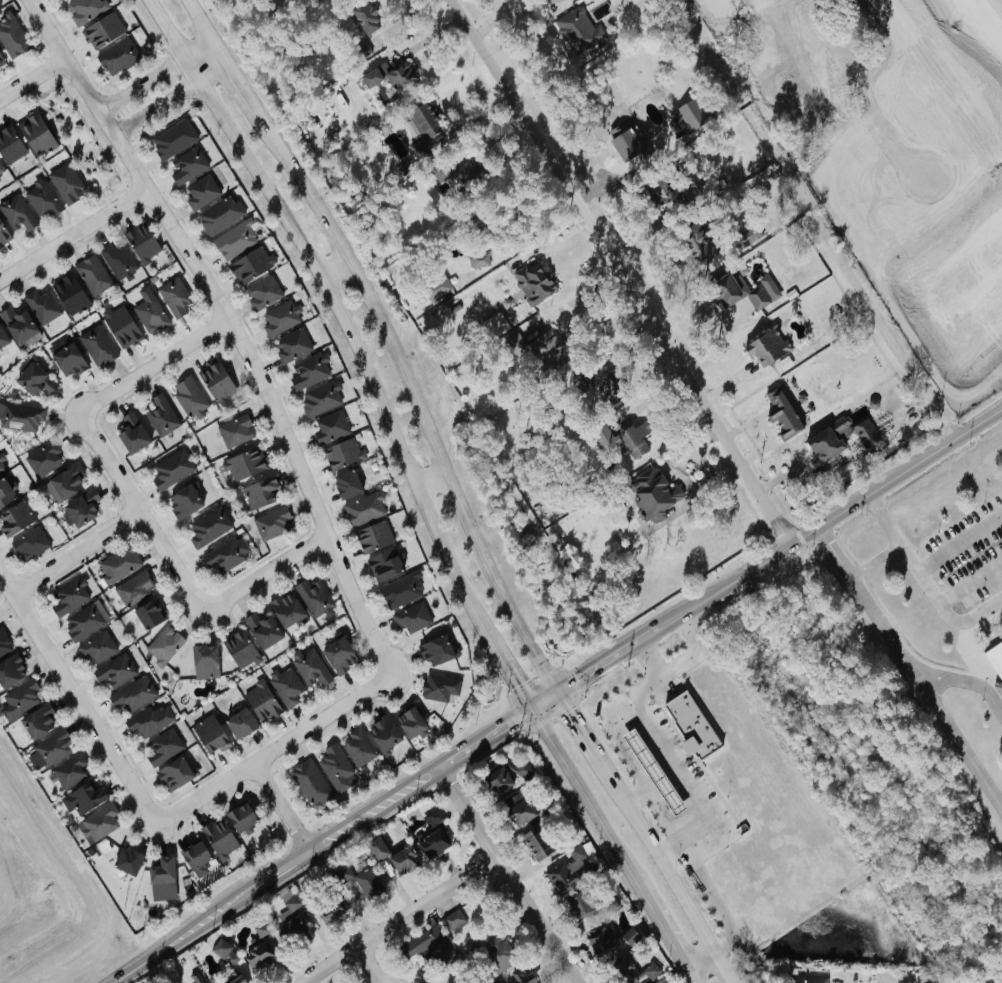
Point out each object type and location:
building: (60, 0)
building: (84, 10)
building: (365, 16)
road: (159, 17)
road: (726, 18)
building: (102, 30)
building: (576, 30)
building: (752, 37)
building: (12, 38)
road: (177, 46)
road: (199, 48)
building: (359, 50)
building: (117, 56)
building: (1, 61)
building: (391, 75)
road: (32, 76)
road: (141, 83)
road: (170, 98)
building: (693, 116)
building: (421, 120)
building: (35, 134)
building: (172, 138)
building: (9, 145)
building: (627, 146)
building: (416, 150)
building: (187, 165)
building: (1, 169)
building: (455, 173)
building: (65, 183)
building: (658, 190)
building: (200, 191)
building: (40, 198)
building: (16, 213)
building: (219, 214)
road: (815, 220)
road: (74, 233)
building: (746, 234)
building: (3, 235)
building: (693, 237)
building: (234, 240)
building: (141, 242)
building: (117, 260)
building: (477, 260)
building: (251, 264)
road: (335, 265)
road: (621, 272)
building: (92, 274)
building: (531, 284)
building: (436, 288)
building: (68, 292)
building: (262, 292)
building: (735, 292)
building: (173, 296)
road: (573, 299)
building: (41, 306)
building: (149, 314)
building: (278, 318)
road: (233, 325)
building: (18, 326)
building: (121, 327)
road: (388, 338)
building: (3, 339)
road: (351, 340)
building: (96, 345)
building: (291, 345)
building: (542, 346)
building: (766, 347)
building: (68, 361)
road: (153, 364)
building: (308, 371)
building: (33, 380)
building: (216, 382)
building: (606, 387)
building: (188, 396)
building: (319, 398)
building: (780, 411)
building: (160, 415)
building: (20, 417)
building: (329, 427)
building: (235, 430)
building: (864, 432)
building: (131, 434)
building: (634, 437)
building: (825, 443)
building: (342, 453)
building: (43, 458)
building: (245, 464)
building: (1, 466)
building: (171, 469)
road: (436, 479)
building: (65, 483)
building: (346, 484)
building: (258, 492)
building: (5, 493)
building: (654, 496)
building: (183, 502)
building: (80, 508)
building: (364, 508)
road: (139, 512)
building: (14, 519)
road: (828, 519)
building: (271, 523)
building: (208, 526)
building: (373, 536)
building: (29, 544)
road: (959, 544)
road: (76, 552)
building: (225, 553)
road: (873, 558)
building: (118, 563)
building: (384, 563)
road: (910, 563)
road: (265, 571)
road: (970, 582)
building: (134, 587)
building: (400, 589)
building: (313, 596)
building: (67, 597)
building: (285, 608)
road: (982, 608)
building: (148, 613)
building: (411, 617)
building: (83, 622)
building: (262, 628)
building: (4, 643)
building: (163, 644)
building: (95, 647)
building: (241, 650)
building: (435, 650)
building: (995, 654)
building: (338, 655)
road: (973, 658)
building: (203, 660)
road: (608, 661)
road: (912, 662)
road: (650, 663)
building: (310, 667)
building: (10, 670)
building: (114, 670)
road: (511, 674)
road: (965, 681)
building: (285, 685)
building: (439, 687)
traffic signals: (562, 691)
building: (132, 694)
road: (77, 697)
building: (19, 699)
road: (547, 700)
building: (260, 701)
traffic signals: (532, 709)
building: (150, 720)
building: (37, 721)
building: (409, 721)
road: (511, 721)
building: (239, 722)
building: (692, 725)
road: (584, 731)
building: (382, 733)
building: (209, 734)
road: (482, 739)
building: (162, 746)
building: (357, 746)
building: (53, 747)
road: (275, 748)
road: (457, 755)
building: (333, 767)
building: (69, 771)
building: (654, 772)
gas station: (654, 772)
building: (173, 773)
road: (637, 773)
building: (506, 775)
road: (572, 775)
road: (677, 778)
building: (309, 782)
building: (84, 797)
road: (639, 800)
road: (281, 805)
road: (374, 807)
building: (518, 808)
building: (433, 816)
building: (240, 817)
building: (97, 823)
building: (218, 838)
building: (432, 842)
building: (537, 842)
building: (375, 848)
road: (670, 852)
building: (196, 858)
building: (126, 860)
building: (402, 860)
road: (283, 867)
road: (513, 872)
building: (161, 875)
building: (565, 875)
road: (669, 876)
building: (361, 880)
building: (578, 905)
road: (650, 905)
building: (330, 913)
building: (478, 915)
road: (405, 918)
building: (453, 920)
building: (291, 929)
road: (188, 934)
building: (602, 942)
building: (425, 944)
building: (224, 952)
building: (499, 953)
building: (258, 954)
road: (702, 961)
road: (376, 964)
building: (631, 971)
building: (520, 976)
road: (693, 976)
building: (195, 979)
building: (234, 979)
building: (805, 979)
building: (497, 981)
building: (931, 982)

